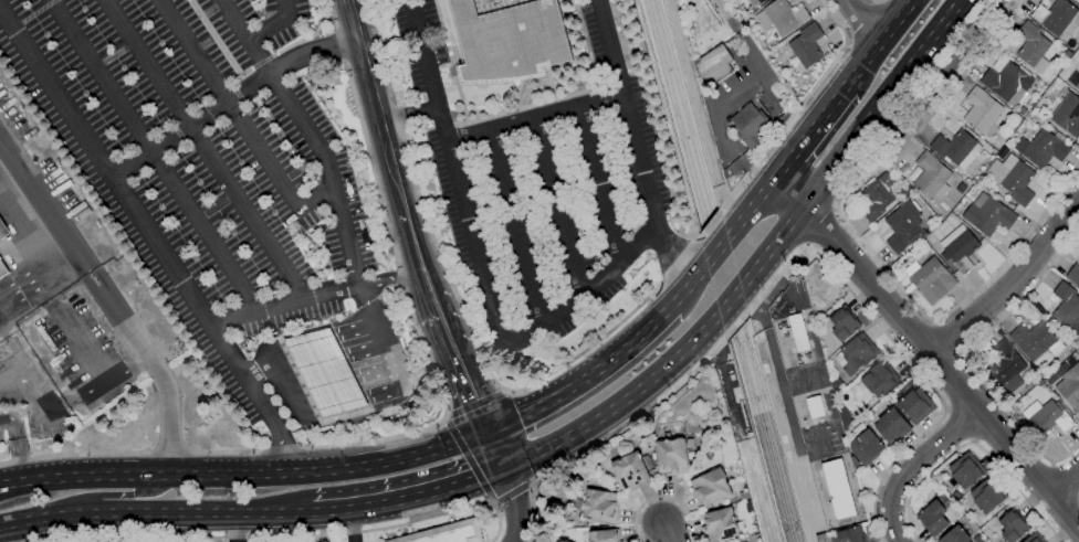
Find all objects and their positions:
road: (877, 0)
building: (1078, 0)
building: (760, 1)
building: (781, 17)
building: (1056, 17)
road: (271, 22)
road: (861, 23)
building: (506, 39)
road: (878, 43)
building: (1030, 44)
building: (805, 47)
building: (712, 66)
road: (940, 75)
road: (744, 81)
building: (1073, 81)
building: (1007, 83)
road: (878, 102)
road: (228, 103)
road: (230, 103)
road: (373, 107)
road: (777, 108)
road: (797, 108)
building: (981, 109)
road: (533, 114)
building: (1067, 115)
road: (407, 117)
building: (748, 125)
road: (808, 134)
road: (311, 135)
road: (637, 147)
building: (1043, 148)
building: (955, 149)
road: (202, 150)
road: (151, 155)
road: (731, 159)
building: (930, 176)
building: (1012, 178)
road: (596, 182)
building: (960, 188)
road: (786, 193)
road: (314, 198)
building: (876, 198)
road: (554, 204)
road: (832, 206)
road: (748, 209)
building: (988, 216)
road: (514, 225)
road: (818, 225)
building: (903, 226)
road: (708, 227)
building: (3, 230)
road: (860, 240)
road: (151, 241)
road: (807, 246)
road: (769, 247)
building: (958, 248)
road: (715, 251)
road: (418, 262)
road: (480, 266)
road: (33, 268)
building: (2, 269)
railway: (714, 270)
railway: (724, 270)
building: (1073, 275)
building: (931, 280)
road: (402, 281)
road: (1013, 281)
road: (390, 283)
road: (688, 285)
road: (106, 300)
road: (727, 300)
road: (282, 304)
building: (1067, 308)
road: (463, 318)
road: (735, 323)
building: (844, 323)
road: (306, 329)
road: (349, 331)
building: (797, 332)
building: (45, 338)
road: (947, 338)
building: (1035, 341)
road: (308, 342)
road: (80, 348)
road: (274, 352)
road: (357, 352)
building: (856, 354)
road: (902, 354)
road: (963, 355)
road: (318, 361)
building: (1004, 363)
road: (943, 364)
road: (283, 370)
road: (462, 370)
road: (366, 372)
building: (325, 373)
gas station: (325, 373)
road: (585, 376)
building: (879, 379)
road: (331, 382)
building: (1067, 385)
road: (297, 392)
road: (375, 393)
road: (341, 403)
road: (475, 403)
road: (620, 403)
building: (915, 405)
road: (46, 407)
road: (310, 412)
road: (356, 412)
building: (1046, 416)
building: (891, 426)
traffic signals: (489, 432)
road: (612, 436)
road: (972, 443)
road: (15, 445)
building: (866, 447)
road: (496, 449)
road: (168, 451)
road: (245, 451)
road: (73, 456)
building: (670, 457)
road: (468, 458)
road: (912, 465)
traffic signals: (504, 468)
building: (965, 470)
building: (629, 471)
road: (247, 475)
road: (1064, 477)
road: (1062, 479)
building: (710, 487)
building: (836, 489)
road: (513, 491)
road: (105, 495)
building: (986, 496)
road: (410, 497)
road: (659, 498)
road: (491, 503)
road: (513, 504)
building: (598, 506)
road: (156, 512)
building: (932, 518)
road: (350, 524)
building: (719, 525)
building: (1013, 525)
road: (234, 527)
road: (12, 532)
building: (448, 533)
road: (663, 533)
building: (850, 534)
building: (604, 535)
building: (954, 535)
road: (300, 536)
building: (1034, 538)

